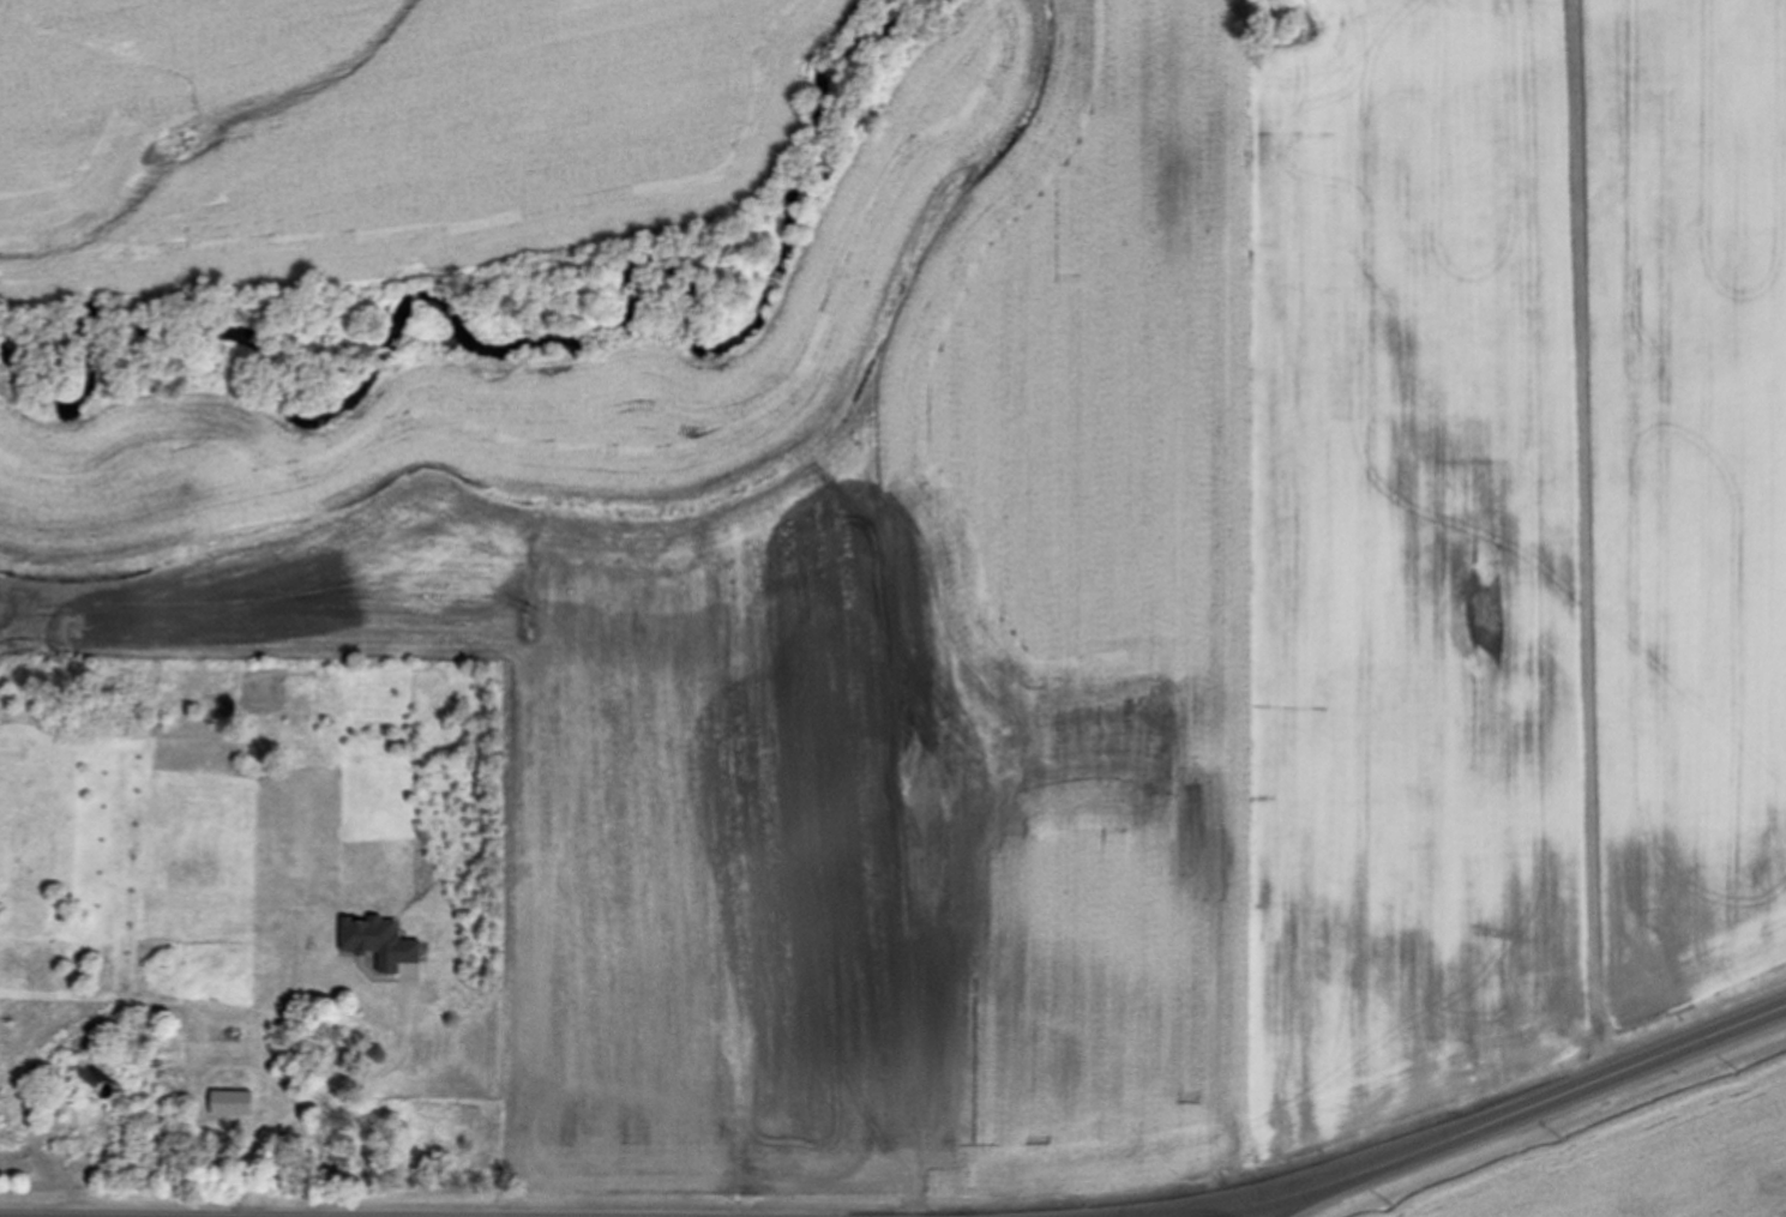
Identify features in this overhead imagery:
building: (233, 1083)
road: (337, 1094)
road: (1525, 1116)
building: (331, 1163)

